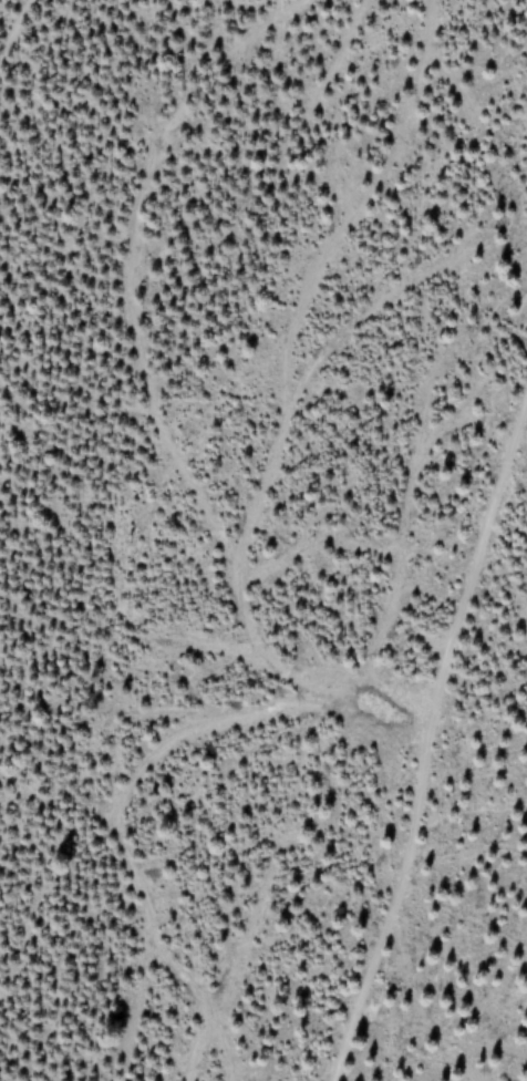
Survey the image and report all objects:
road: (13, 30)
road: (423, 734)

